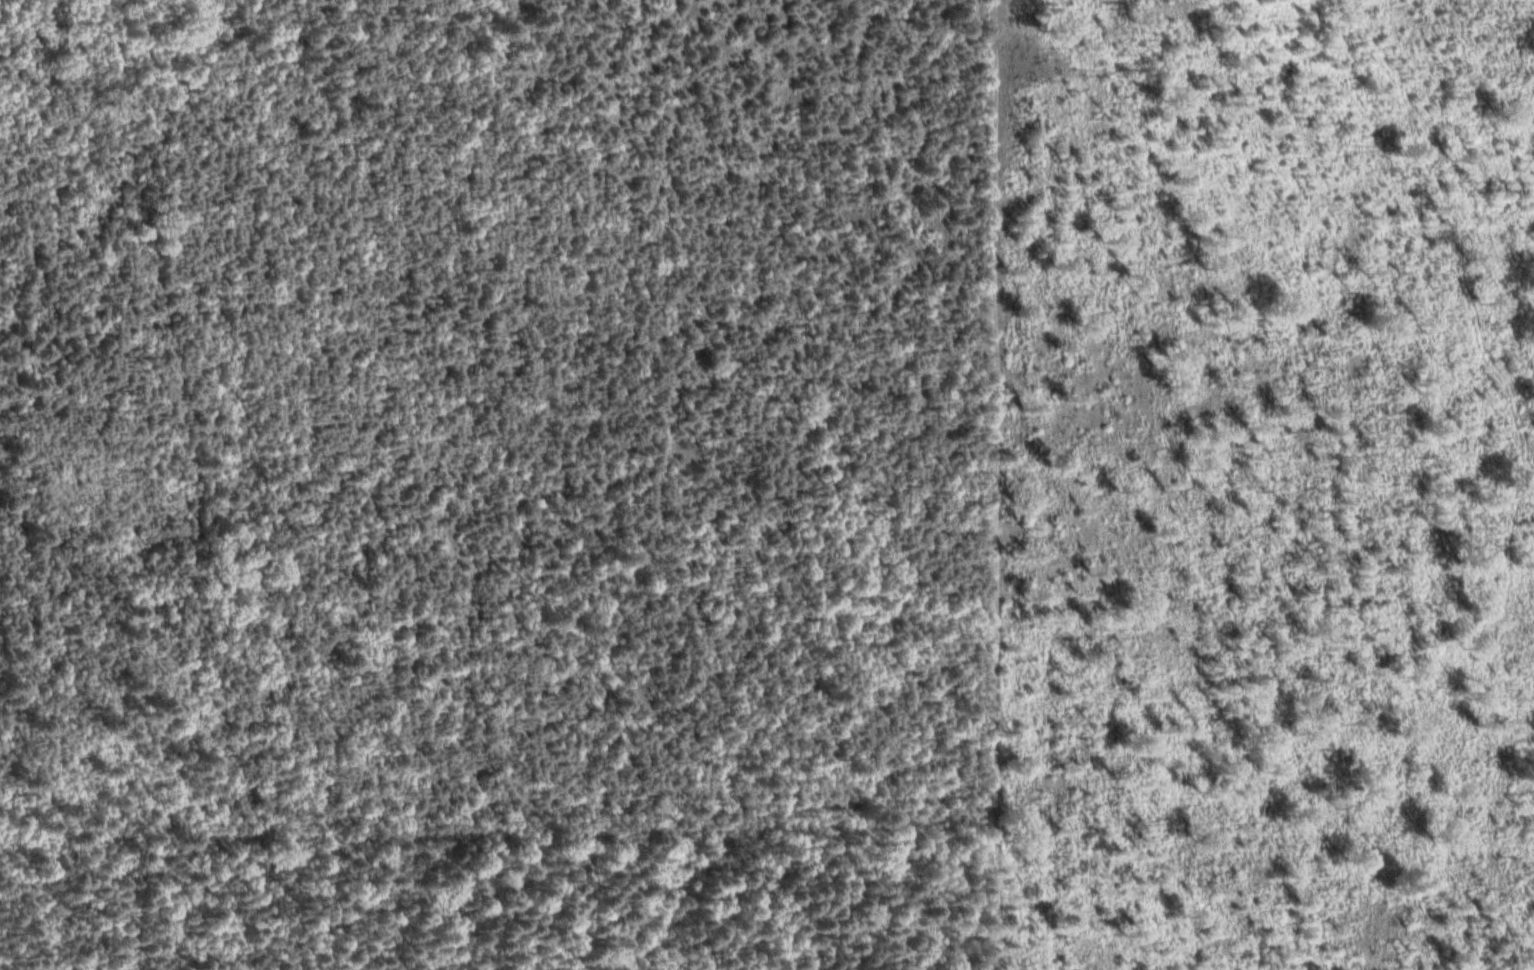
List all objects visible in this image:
road: (992, 485)
road: (198, 490)
road: (1532, 797)

